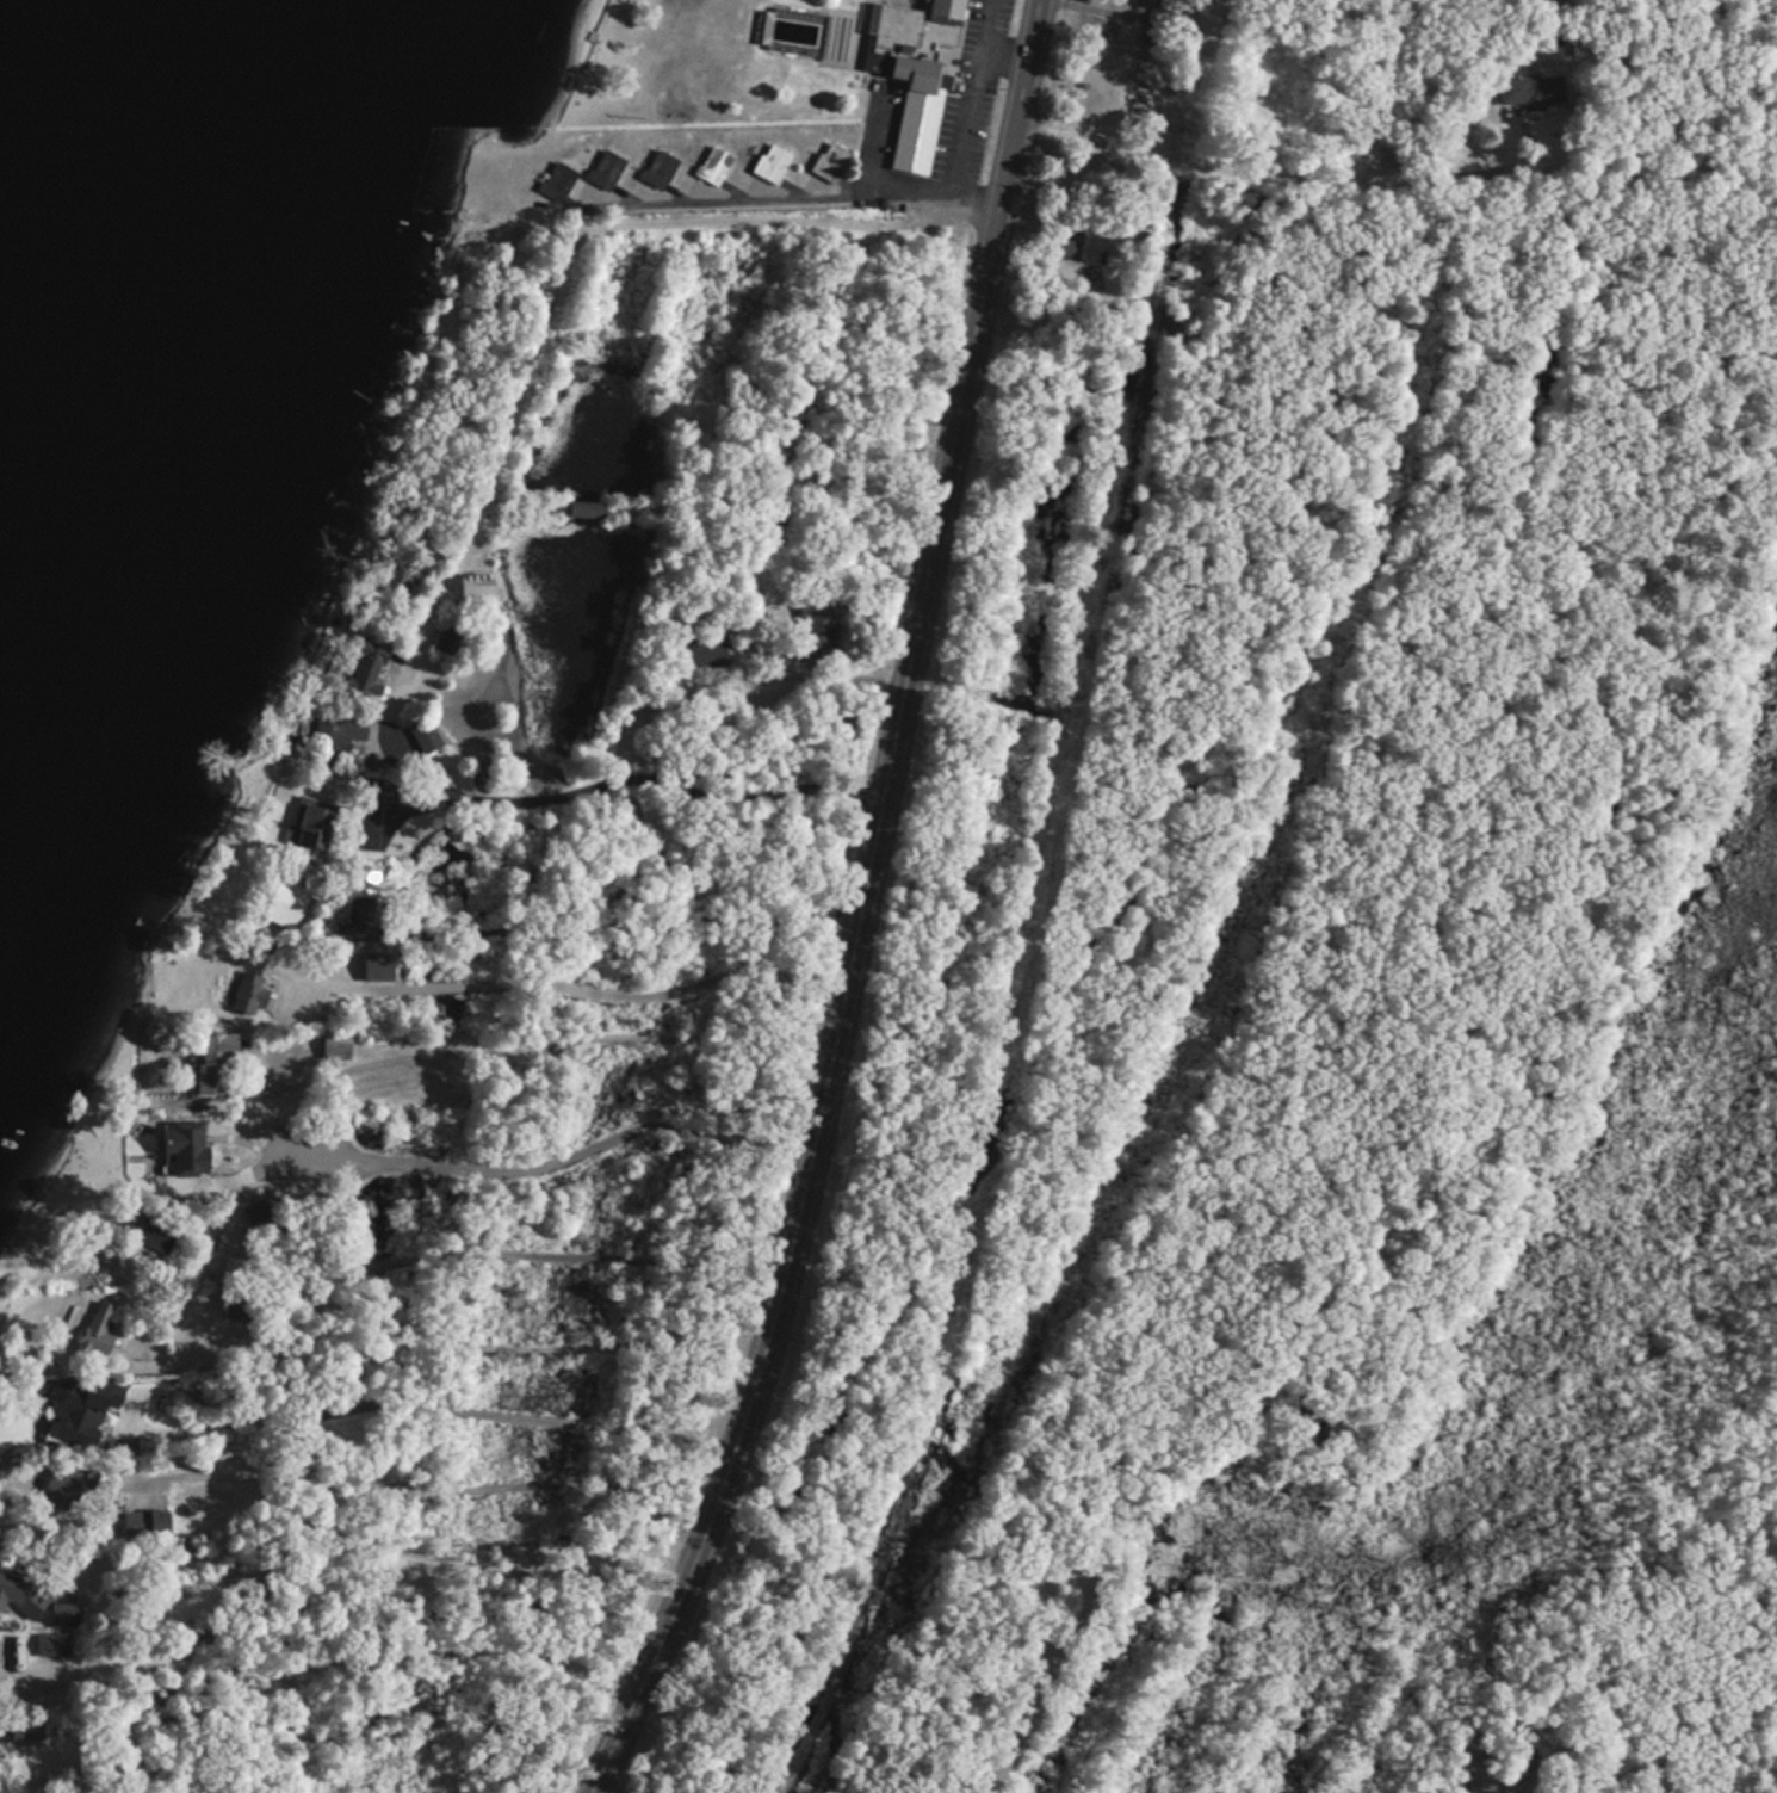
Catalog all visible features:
building: (1169, 13)
building: (793, 31)
building: (917, 73)
road: (1214, 76)
road: (1708, 76)
road: (1395, 91)
building: (1534, 92)
building: (831, 162)
building: (773, 163)
building: (714, 167)
building: (606, 171)
building: (661, 171)
road: (1394, 179)
building: (558, 183)
road: (719, 215)
building: (1084, 247)
building: (1158, 316)
road: (843, 322)
road: (499, 423)
building: (582, 508)
building: (400, 576)
building: (816, 629)
building: (448, 637)
building: (705, 650)
building: (366, 667)
building: (338, 735)
building: (427, 736)
road: (615, 773)
building: (311, 823)
road: (402, 889)
building: (286, 904)
road: (861, 910)
road: (558, 972)
road: (454, 1040)
building: (213, 1061)
road: (479, 1195)
building: (153, 1232)
road: (495, 1249)
building: (235, 1322)
building: (98, 1329)
road: (447, 1334)
road: (452, 1412)
building: (66, 1489)
building: (147, 1522)
road: (416, 1552)
building: (12, 1590)
building: (63, 1614)
road: (357, 1657)
road: (1041, 1700)
building: (23, 1731)

